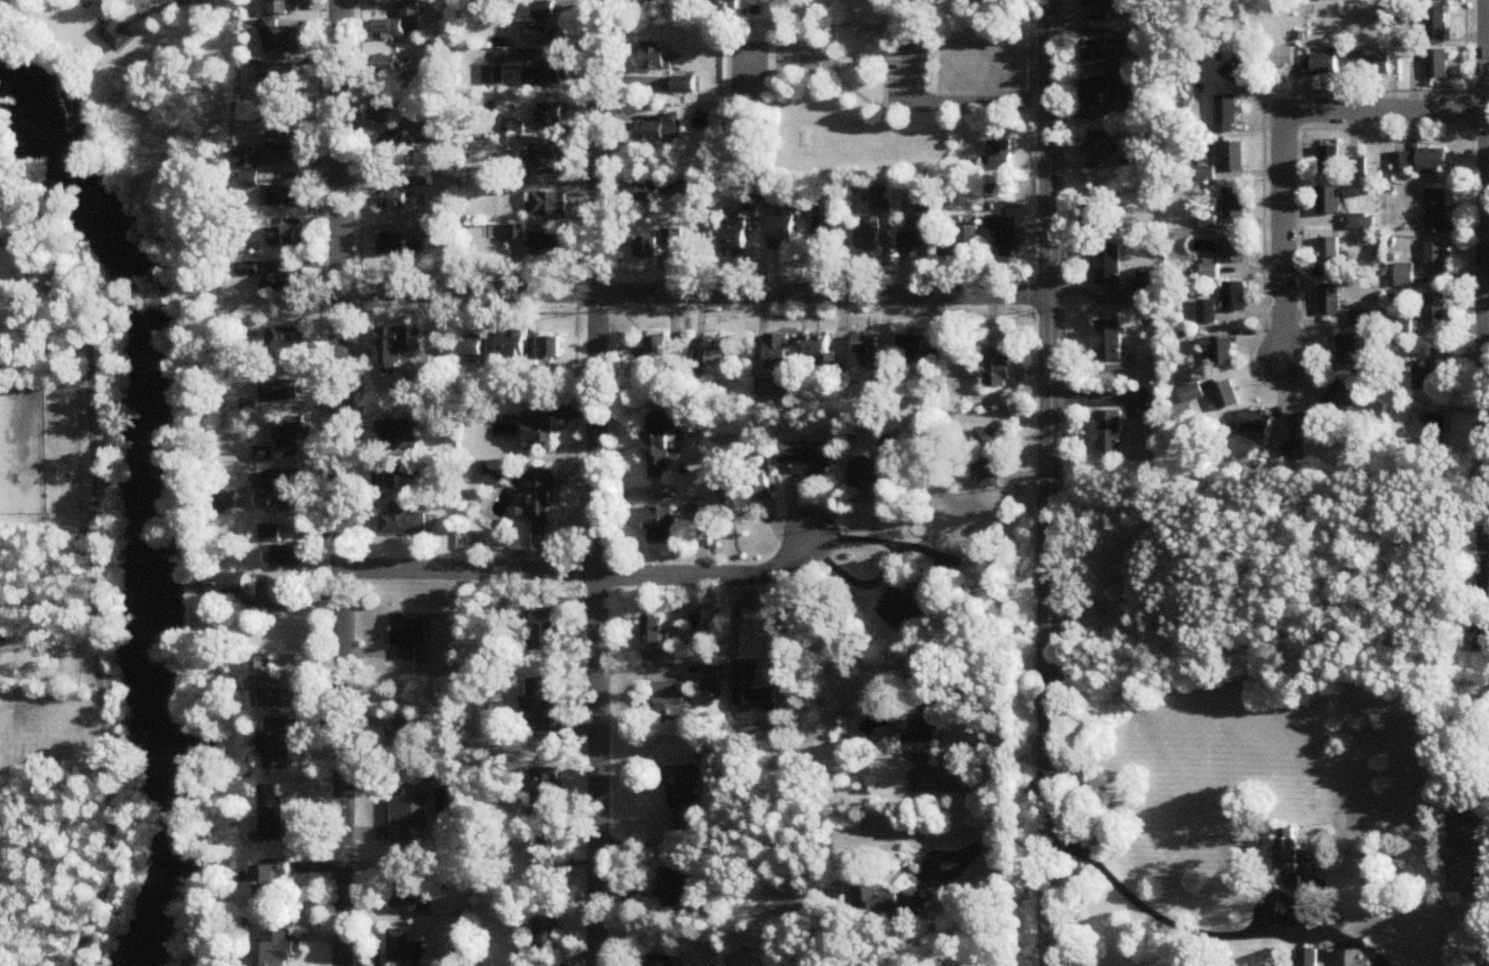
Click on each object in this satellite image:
building: (204, 0)
building: (949, 2)
building: (974, 2)
building: (1106, 3)
building: (281, 7)
road: (99, 10)
building: (543, 10)
road: (156, 11)
building: (400, 22)
building: (1436, 22)
road: (1484, 29)
building: (547, 35)
park: (106, 36)
building: (114, 36)
building: (283, 39)
road: (817, 43)
building: (1101, 50)
road: (1025, 56)
building: (655, 58)
building: (1281, 58)
building: (1319, 65)
building: (1370, 65)
building: (1437, 65)
road: (1485, 65)
building: (389, 66)
park: (879, 68)
building: (1242, 70)
building: (545, 73)
park: (747, 74)
road: (812, 75)
road: (836, 78)
building: (280, 83)
building: (684, 87)
building: (1107, 87)
road: (955, 105)
road: (880, 106)
building: (380, 110)
road: (956, 111)
building: (552, 114)
building: (1227, 114)
building: (517, 127)
building: (657, 130)
road: (1282, 141)
building: (289, 143)
road: (1487, 143)
road: (360, 146)
building: (1100, 146)
building: (395, 149)
building: (998, 156)
building: (1234, 156)
building: (1431, 160)
building: (246, 161)
building: (1328, 161)
building: (1400, 162)
building: (546, 163)
building: (1356, 169)
building: (251, 181)
building: (650, 193)
building: (394, 194)
building: (287, 197)
building: (1328, 201)
building: (548, 203)
building: (1234, 203)
building: (1436, 212)
building: (1354, 222)
building: (782, 230)
building: (433, 232)
building: (734, 233)
building: (915, 233)
building: (1003, 234)
building: (825, 236)
building: (288, 237)
building: (672, 238)
building: (866, 239)
building: (969, 239)
road: (1485, 240)
road: (1487, 243)
building: (394, 244)
building: (547, 245)
road: (60, 248)
building: (647, 248)
building: (1232, 249)
building: (1329, 258)
building: (1436, 258)
building: (1107, 264)
building: (1404, 275)
building: (289, 281)
building: (1144, 290)
road: (320, 291)
road: (694, 295)
building: (1232, 296)
building: (1328, 300)
building: (1436, 309)
building: (1206, 312)
building: (1400, 330)
building: (288, 338)
building: (393, 339)
building: (1107, 340)
road: (1251, 342)
building: (512, 345)
building: (472, 348)
building: (552, 348)
building: (817, 348)
building: (718, 350)
building: (1345, 350)
building: (777, 351)
building: (1218, 351)
building: (653, 352)
building: (866, 352)
building: (917, 352)
building: (997, 368)
building: (1369, 368)
building: (1424, 377)
building: (286, 391)
building: (1191, 394)
building: (1225, 396)
building: (1339, 397)
building: (1147, 406)
park: (45, 417)
building: (1256, 422)
building: (1300, 425)
building: (1435, 430)
building: (1107, 432)
building: (295, 433)
building: (540, 435)
building: (659, 446)
building: (987, 457)
building: (806, 459)
building: (387, 476)
road: (595, 482)
building: (870, 482)
road: (339, 483)
road: (1048, 483)
building: (280, 487)
river: (169, 491)
building: (748, 491)
building: (542, 499)
building: (402, 524)
building: (661, 526)
building: (270, 534)
road: (1482, 553)
building: (289, 557)
road: (581, 573)
building: (232, 587)
road: (100, 591)
building: (906, 600)
road: (1485, 620)
building: (545, 630)
building: (653, 631)
building: (407, 632)
building: (1480, 647)
building: (271, 690)
building: (669, 704)
building: (541, 707)
building: (922, 732)
building: (403, 736)
building: (277, 745)
road: (986, 785)
building: (681, 794)
building: (545, 795)
building: (407, 813)
building: (274, 815)
road: (989, 836)
park: (1465, 854)
building: (542, 855)
building: (1291, 856)
building: (270, 886)
building: (674, 886)
building: (408, 887)
building: (889, 902)
road: (1204, 933)
building: (546, 935)
building: (403, 948)
building: (273, 949)
building: (1308, 957)
building: (663, 960)

